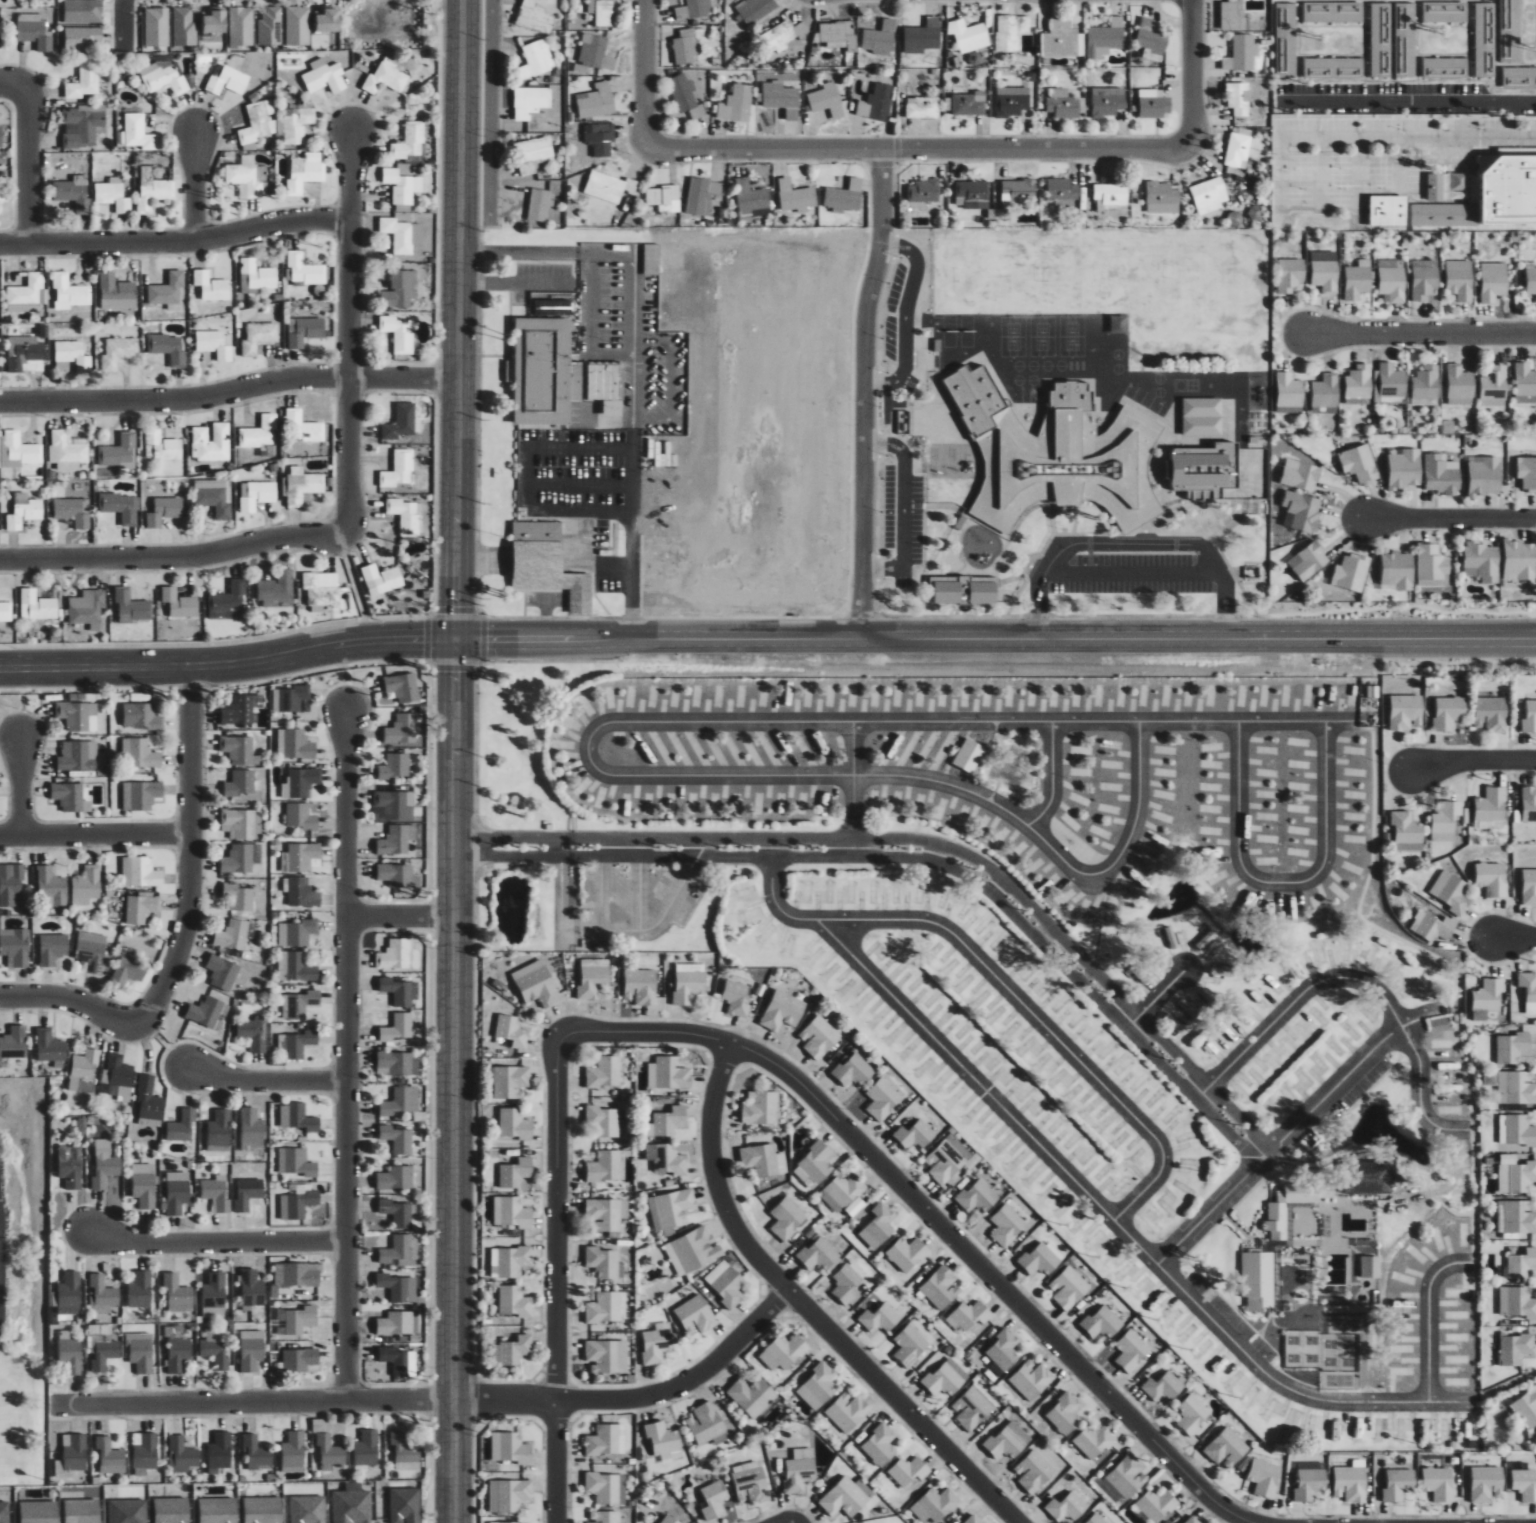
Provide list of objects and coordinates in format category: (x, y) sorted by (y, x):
building: (694, 9)
building: (755, 9)
building: (82, 11)
building: (602, 12)
building: (1233, 15)
building: (534, 17)
building: (327, 20)
building: (214, 22)
road: (126, 24)
building: (241, 26)
building: (269, 26)
building: (297, 26)
building: (156, 27)
building: (184, 27)
building: (33, 31)
building: (1010, 32)
building: (784, 35)
building: (968, 35)
building: (922, 36)
building: (82, 38)
building: (880, 38)
building: (1105, 38)
building: (1063, 39)
building: (1151, 40)
building: (685, 47)
building: (596, 52)
building: (1241, 54)
building: (536, 59)
building: (1445, 66)
building: (1317, 67)
road: (644, 72)
road: (1199, 75)
building: (324, 76)
building: (163, 77)
building: (386, 78)
building: (84, 81)
building: (228, 81)
road: (14, 87)
building: (685, 96)
building: (781, 98)
building: (1238, 98)
building: (596, 100)
building: (827, 100)
building: (1012, 100)
building: (531, 101)
building: (1107, 101)
road: (1407, 102)
building: (736, 103)
building: (876, 103)
building: (969, 104)
building: (1062, 104)
building: (922, 107)
building: (1154, 107)
building: (258, 122)
building: (295, 124)
building: (83, 125)
building: (139, 132)
building: (0, 135)
building: (600, 137)
road: (1377, 137)
building: (410, 141)
building: (1239, 150)
road: (917, 152)
building: (532, 154)
road: (28, 166)
building: (305, 172)
building: (247, 177)
building: (1459, 182)
building: (402, 186)
building: (609, 186)
road: (193, 187)
building: (1436, 187)
building: (153, 189)
building: (1018, 189)
building: (1, 192)
building: (73, 192)
building: (1063, 192)
building: (923, 193)
building: (972, 194)
building: (113, 195)
building: (702, 195)
building: (1111, 195)
building: (1209, 195)
building: (1491, 195)
building: (796, 196)
building: (844, 196)
building: (664, 197)
building: (1162, 197)
building: (750, 198)
building: (539, 204)
building: (1388, 210)
building: (402, 234)
road: (175, 242)
building: (651, 259)
building: (304, 269)
building: (1324, 271)
building: (1289, 274)
building: (256, 276)
building: (1531, 277)
building: (1423, 279)
building: (1459, 279)
building: (1357, 280)
building: (1391, 280)
road: (513, 281)
building: (1493, 281)
building: (211, 286)
building: (400, 290)
building: (69, 292)
building: (117, 292)
building: (167, 292)
building: (25, 293)
road: (904, 314)
road: (459, 317)
road: (592, 324)
road: (1419, 325)
road: (347, 330)
building: (305, 331)
building: (399, 334)
building: (258, 337)
building: (216, 344)
building: (168, 348)
building: (24, 351)
building: (118, 352)
building: (73, 354)
road: (631, 360)
building: (542, 371)
road: (669, 378)
building: (1524, 380)
building: (1359, 381)
building: (1392, 384)
building: (1426, 385)
building: (1460, 385)
building: (607, 386)
building: (1494, 387)
building: (1290, 390)
building: (1326, 391)
road: (229, 392)
road: (863, 395)
building: (1357, 401)
building: (1290, 410)
building: (1202, 416)
building: (401, 422)
building: (303, 427)
building: (259, 434)
building: (211, 443)
building: (161, 446)
building: (18, 450)
building: (66, 451)
building: (118, 452)
building: (1061, 453)
building: (1359, 463)
building: (1405, 469)
building: (398, 470)
building: (1202, 470)
road: (536, 472)
road: (576, 473)
building: (1527, 473)
building: (1300, 475)
building: (1441, 475)
building: (1485, 477)
building: (302, 485)
building: (256, 495)
building: (213, 497)
building: (121, 507)
road: (902, 508)
building: (23, 511)
building: (73, 511)
building: (164, 511)
building: (1302, 512)
building: (405, 516)
road: (1446, 519)
road: (1130, 542)
road: (173, 554)
building: (1520, 559)
building: (1308, 561)
building: (1482, 561)
road: (605, 563)
building: (547, 564)
building: (1432, 567)
building: (1398, 570)
building: (1351, 572)
road: (1130, 575)
building: (381, 579)
road: (355, 583)
building: (276, 590)
building: (965, 590)
building: (319, 591)
building: (228, 598)
building: (179, 603)
building: (37, 606)
building: (132, 606)
building: (87, 608)
building: (5, 612)
road: (995, 640)
road: (228, 658)
building: (402, 687)
building: (81, 697)
building: (291, 699)
building: (243, 710)
building: (1406, 712)
building: (1449, 713)
building: (1491, 714)
building: (78, 716)
building: (142, 716)
building: (1530, 718)
road: (968, 722)
building: (402, 729)
building: (295, 744)
building: (240, 751)
building: (139, 753)
building: (969, 755)
building: (78, 756)
road: (1470, 758)
building: (395, 767)
road: (1052, 779)
road: (931, 781)
road: (17, 783)
building: (300, 783)
building: (240, 785)
road: (853, 785)
building: (141, 795)
building: (70, 797)
building: (1529, 804)
building: (395, 805)
building: (1491, 809)
building: (301, 816)
building: (1445, 821)
building: (242, 824)
road: (94, 831)
building: (1407, 832)
building: (396, 840)
road: (919, 848)
road: (188, 853)
building: (300, 857)
building: (239, 859)
building: (140, 873)
building: (396, 875)
building: (1492, 878)
road: (1282, 884)
building: (11, 885)
building: (86, 886)
building: (1529, 887)
building: (51, 888)
building: (1452, 891)
building: (301, 892)
building: (239, 897)
building: (142, 909)
road: (400, 916)
building: (1432, 926)
building: (297, 933)
building: (232, 935)
road: (1514, 938)
building: (15, 947)
building: (52, 949)
building: (91, 951)
building: (395, 955)
building: (295, 967)
building: (129, 970)
building: (222, 973)
building: (593, 978)
road: (1360, 981)
building: (689, 982)
building: (536, 984)
building: (641, 986)
road: (1004, 986)
building: (1529, 990)
building: (400, 991)
road: (1158, 997)
building: (738, 998)
road: (68, 999)
building: (1487, 999)
building: (301, 1004)
building: (783, 1011)
building: (205, 1012)
building: (1174, 1023)
building: (398, 1028)
building: (512, 1031)
building: (253, 1034)
building: (819, 1036)
building: (14, 1043)
building: (296, 1045)
building: (50, 1048)
building: (1513, 1048)
road: (347, 1055)
building: (397, 1063)
building: (853, 1071)
building: (84, 1072)
building: (604, 1072)
building: (670, 1072)
building: (118, 1077)
road: (264, 1077)
road: (454, 1078)
building: (510, 1080)
road: (1339, 1082)
building: (1516, 1087)
building: (882, 1099)
building: (400, 1101)
building: (149, 1102)
building: (760, 1108)
building: (297, 1117)
building: (603, 1120)
building: (667, 1121)
building: (515, 1123)
building: (182, 1125)
building: (251, 1129)
building: (219, 1131)
building: (1519, 1131)
building: (915, 1135)
building: (397, 1139)
building: (666, 1158)
building: (763, 1160)
building: (947, 1160)
building: (296, 1162)
building: (104, 1164)
building: (814, 1165)
building: (70, 1166)
building: (605, 1166)
building: (515, 1172)
building: (395, 1177)
building: (1516, 1177)
building: (143, 1184)
building: (177, 1192)
building: (215, 1193)
building: (248, 1193)
building: (844, 1193)
building: (977, 1197)
building: (298, 1202)
building: (671, 1208)
road: (1210, 1210)
building: (396, 1212)
building: (512, 1212)
building: (606, 1213)
building: (1516, 1216)
building: (1276, 1217)
building: (786, 1218)
road: (940, 1224)
road: (1117, 1224)
building: (1007, 1225)
building: (878, 1226)
road: (214, 1240)
building: (692, 1250)
building: (398, 1251)
building: (907, 1253)
building: (819, 1254)
building: (1041, 1259)
building: (513, 1261)
building: (602, 1262)
building: (1521, 1264)
building: (1370, 1267)
road: (556, 1271)
building: (297, 1274)
building: (1258, 1279)
building: (846, 1283)
building: (728, 1284)
building: (398, 1287)
building: (940, 1287)
building: (251, 1288)
building: (1069, 1288)
building: (141, 1290)
building: (69, 1293)
building: (102, 1294)
building: (178, 1294)
building: (214, 1295)
building: (514, 1301)
building: (1516, 1302)
building: (604, 1308)
road: (806, 1309)
building: (696, 1315)
building: (969, 1315)
building: (880, 1318)
building: (300, 1319)
road: (1429, 1319)
building: (395, 1323)
building: (1102, 1323)
building: (656, 1343)
building: (912, 1343)
building: (215, 1347)
building: (1515, 1349)
building: (251, 1350)
building: (512, 1350)
building: (1004, 1350)
building: (1131, 1350)
building: (102, 1351)
building: (140, 1351)
building: (783, 1351)
building: (178, 1353)
building: (70, 1355)
building: (607, 1356)
building: (299, 1359)
building: (398, 1360)
building: (946, 1378)
building: (1031, 1379)
building: (817, 1387)
building: (1163, 1387)
building: (752, 1395)
road: (443, 1399)
building: (972, 1408)
building: (1526, 1408)
building: (847, 1411)
building: (1065, 1413)
building: (1192, 1414)
building: (707, 1425)
building: (604, 1440)
building: (663, 1441)
building: (1094, 1442)
building: (879, 1445)
building: (510, 1447)
building: (1227, 1447)
building: (366, 1448)
building: (219, 1452)
building: (293, 1452)
building: (330, 1452)
building: (405, 1452)
building: (257, 1453)
building: (71, 1455)
building: (181, 1455)
building: (110, 1456)
building: (799, 1470)
building: (909, 1470)
building: (1034, 1472)
building: (1127, 1476)
building: (1265, 1477)
building: (1309, 1481)
building: (750, 1482)
building: (1351, 1482)
building: (1439, 1483)
building: (1486, 1483)
building: (1399, 1484)
building: (1525, 1484)
building: (607, 1487)
building: (509, 1495)
building: (844, 1498)
building: (714, 1500)
building: (1156, 1504)
building: (404, 1505)
building: (935, 1505)
building: (350, 1506)
building: (1067, 1507)
building: (307, 1509)
building: (171, 1510)
building: (217, 1510)
building: (262, 1510)
building: (82, 1511)
building: (128, 1511)
building: (4, 1512)
building: (38, 1512)
building: (605, 1517)
building: (670, 1519)
building: (1096, 1519)
building: (975, 1520)
building: (1192, 1520)
building: (503, 1522)

